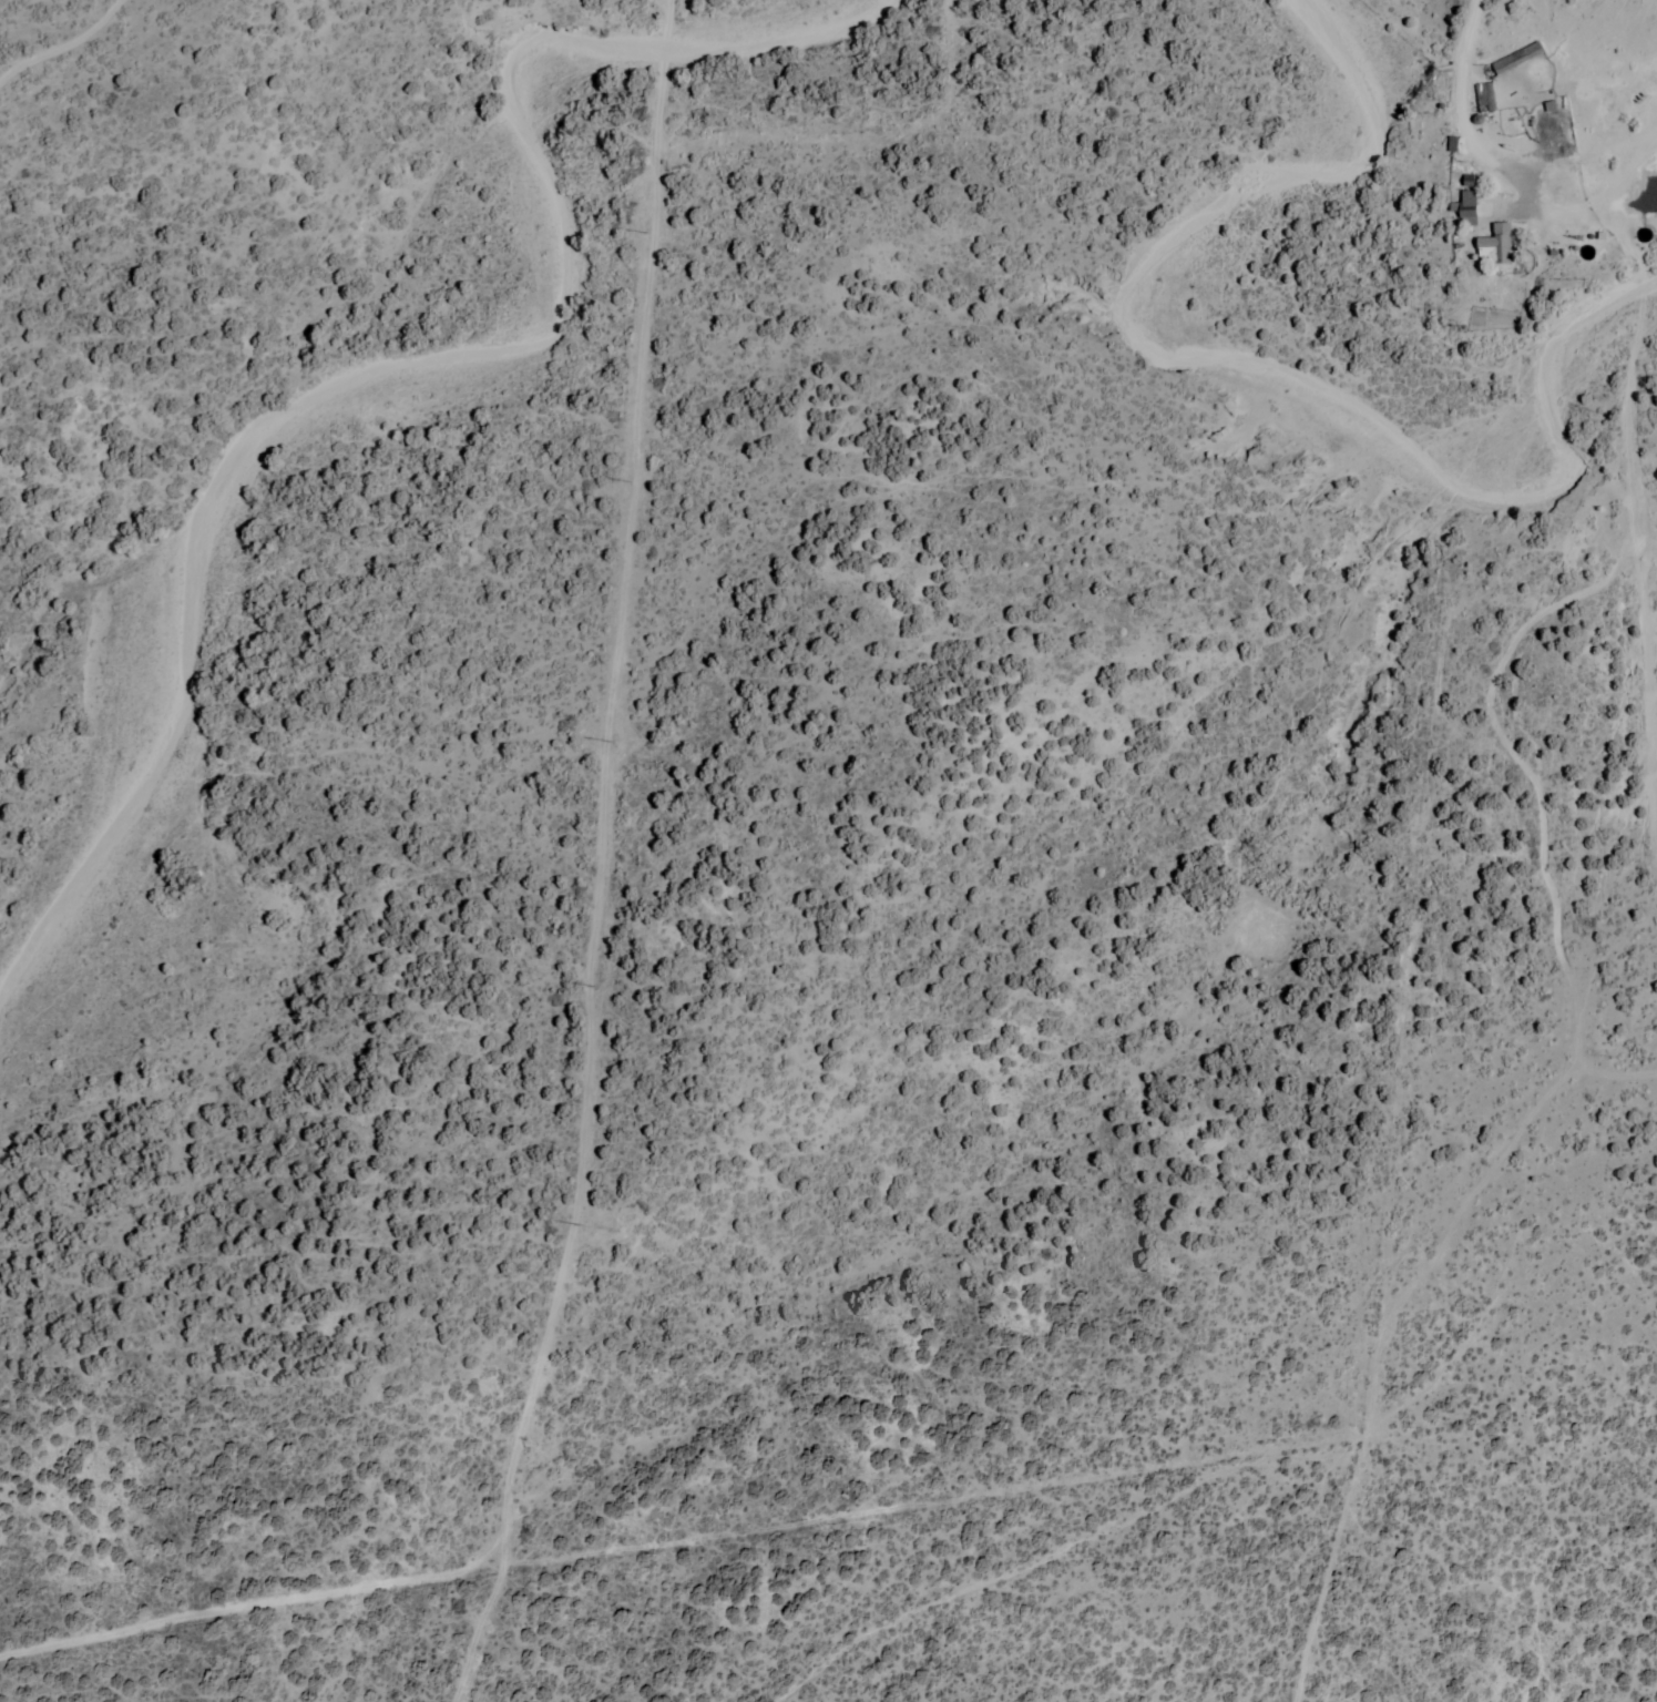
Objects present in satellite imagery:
road: (63, 45)
road: (1653, 134)
road: (1577, 156)
road: (1497, 167)
road: (1597, 195)
building: (1472, 210)
road: (1504, 211)
building: (1501, 246)
road: (1627, 424)
road: (1457, 733)
road: (1615, 1077)
road: (1372, 1353)
road: (1057, 1549)

